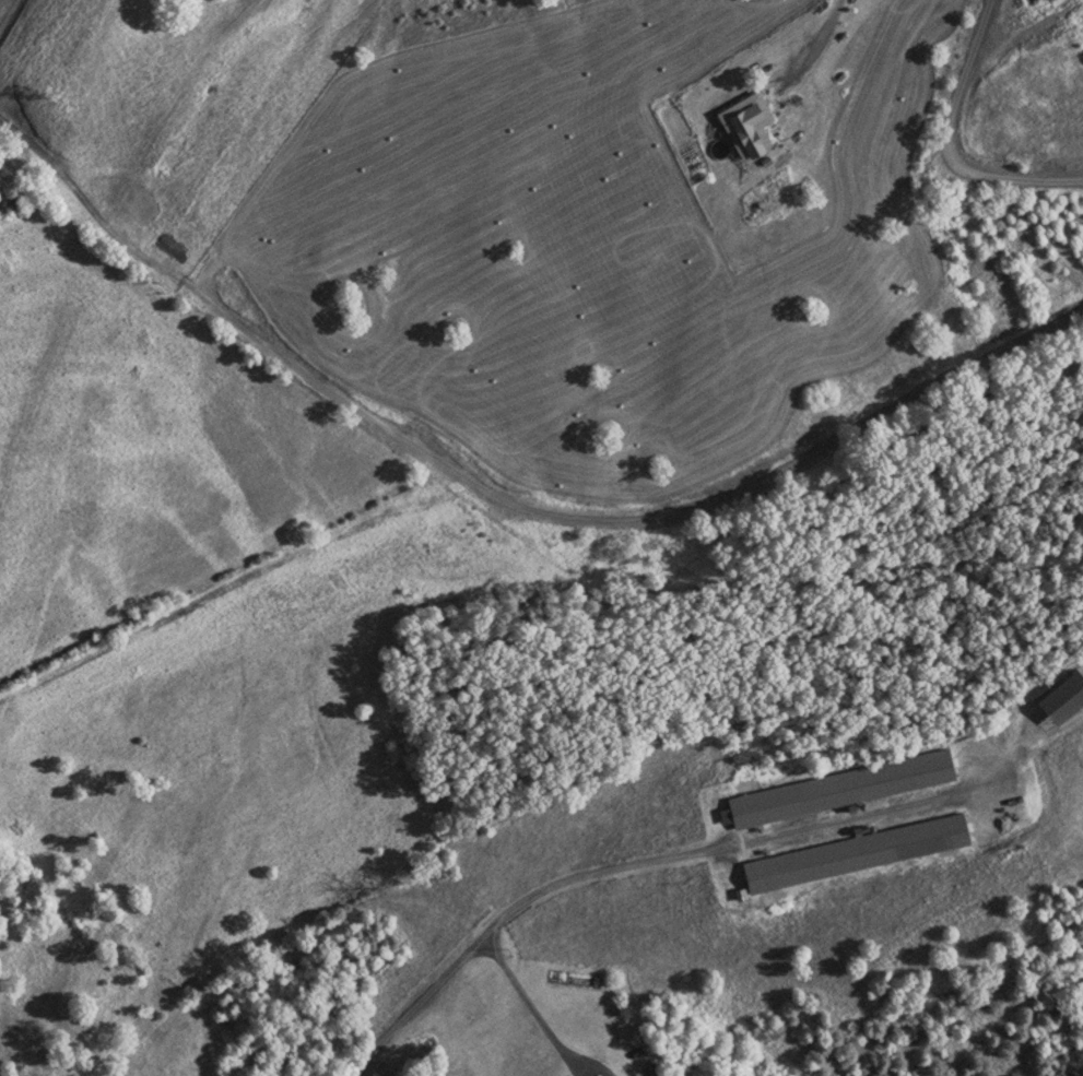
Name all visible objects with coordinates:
building: (1044, 0)
building: (0, 1)
road: (814, 43)
building: (744, 125)
road: (951, 144)
building: (1057, 698)
building: (836, 789)
building: (852, 853)
road: (511, 912)
road: (529, 1009)

